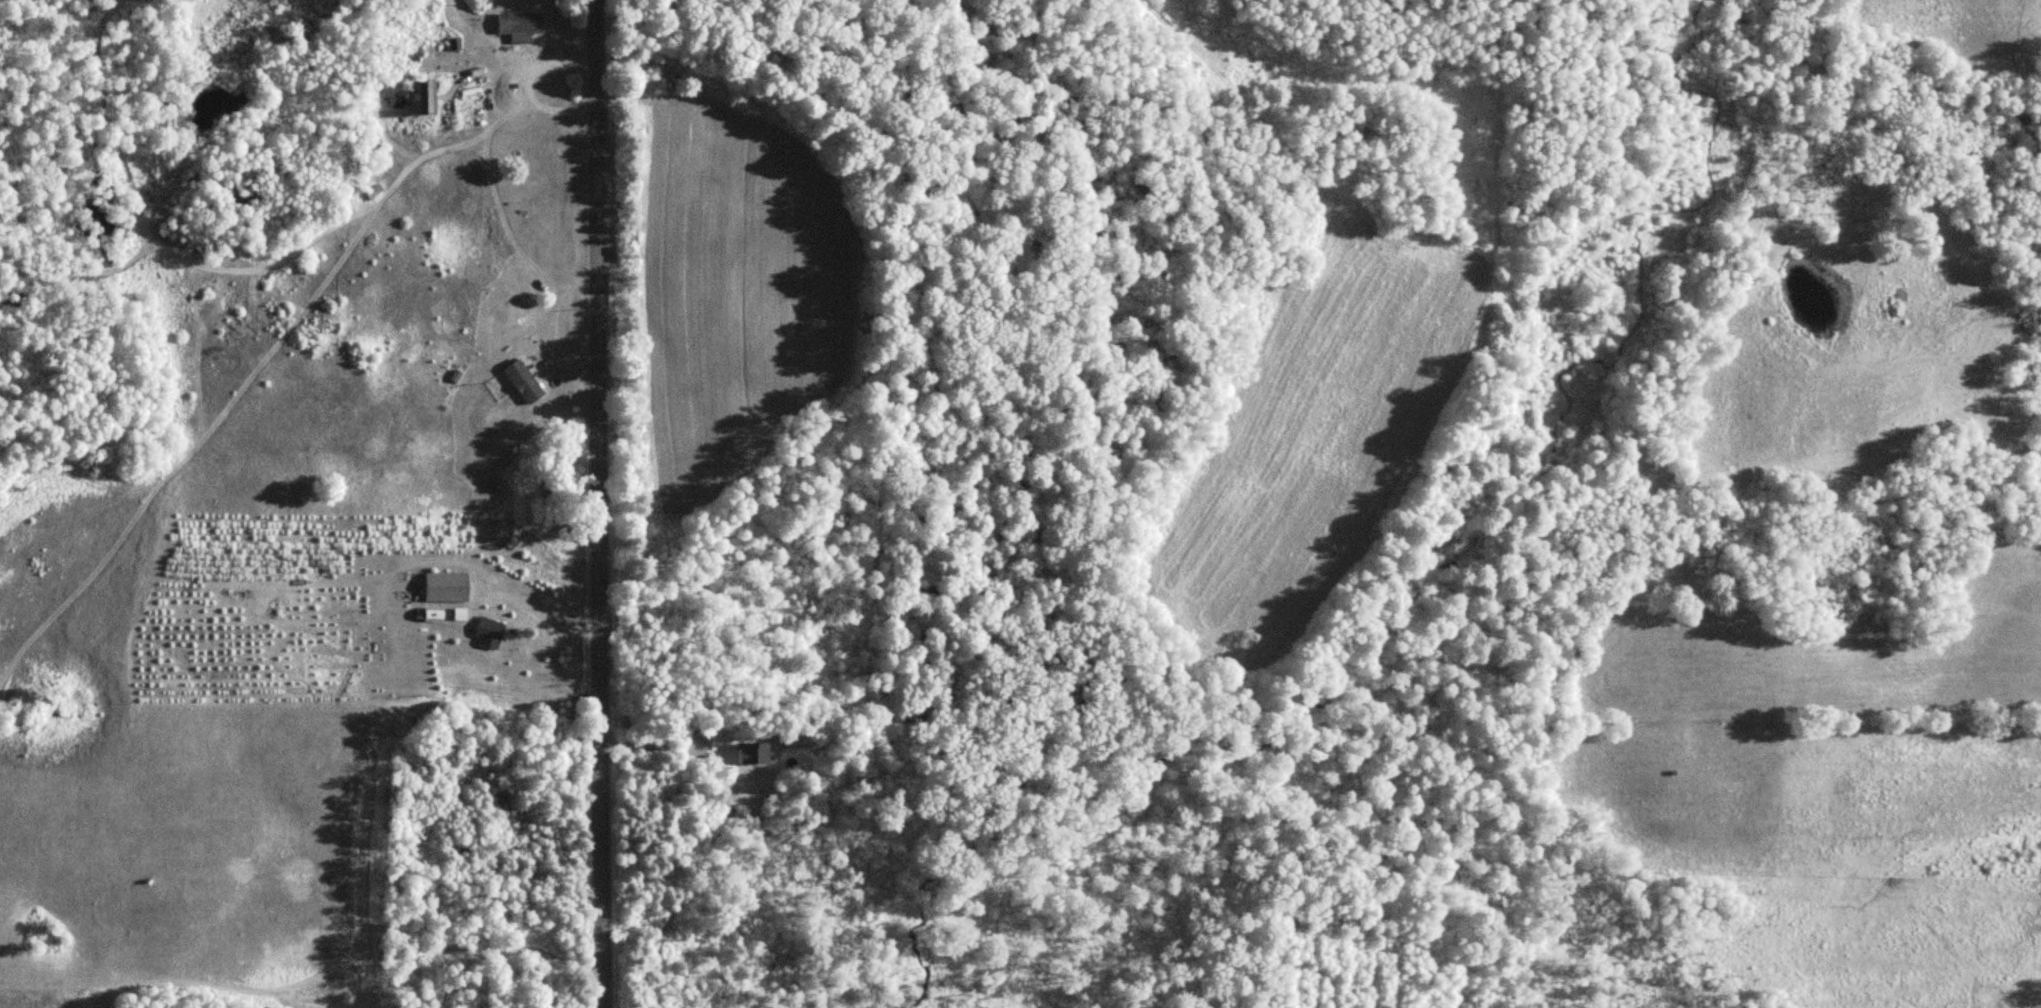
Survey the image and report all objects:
building: (520, 23)
building: (424, 97)
building: (523, 381)
road: (588, 504)
building: (446, 586)
building: (488, 632)
building: (755, 751)

